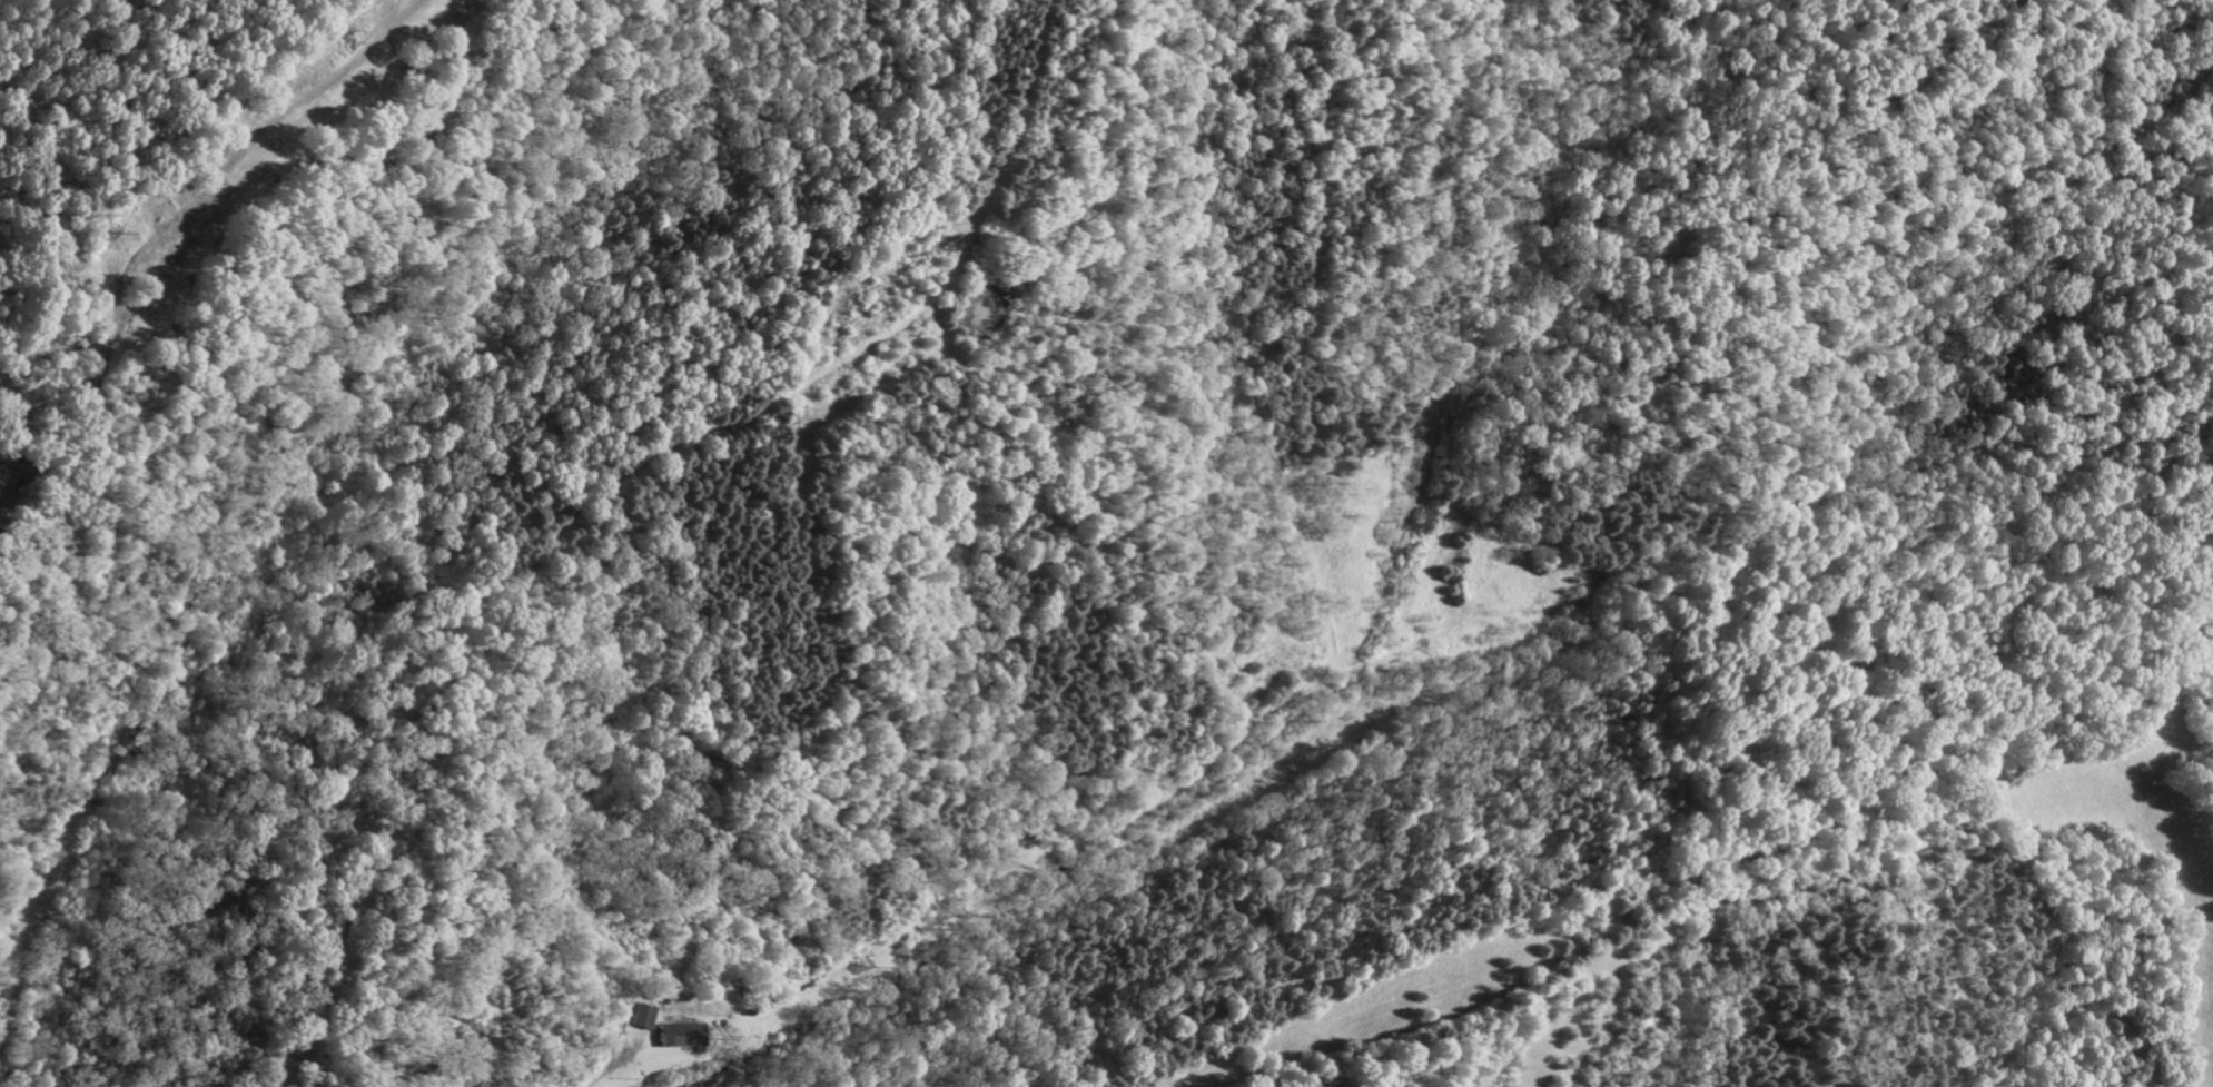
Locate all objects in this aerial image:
building: (1029, 841)
building: (643, 1016)
building: (680, 1036)
road: (603, 1069)

